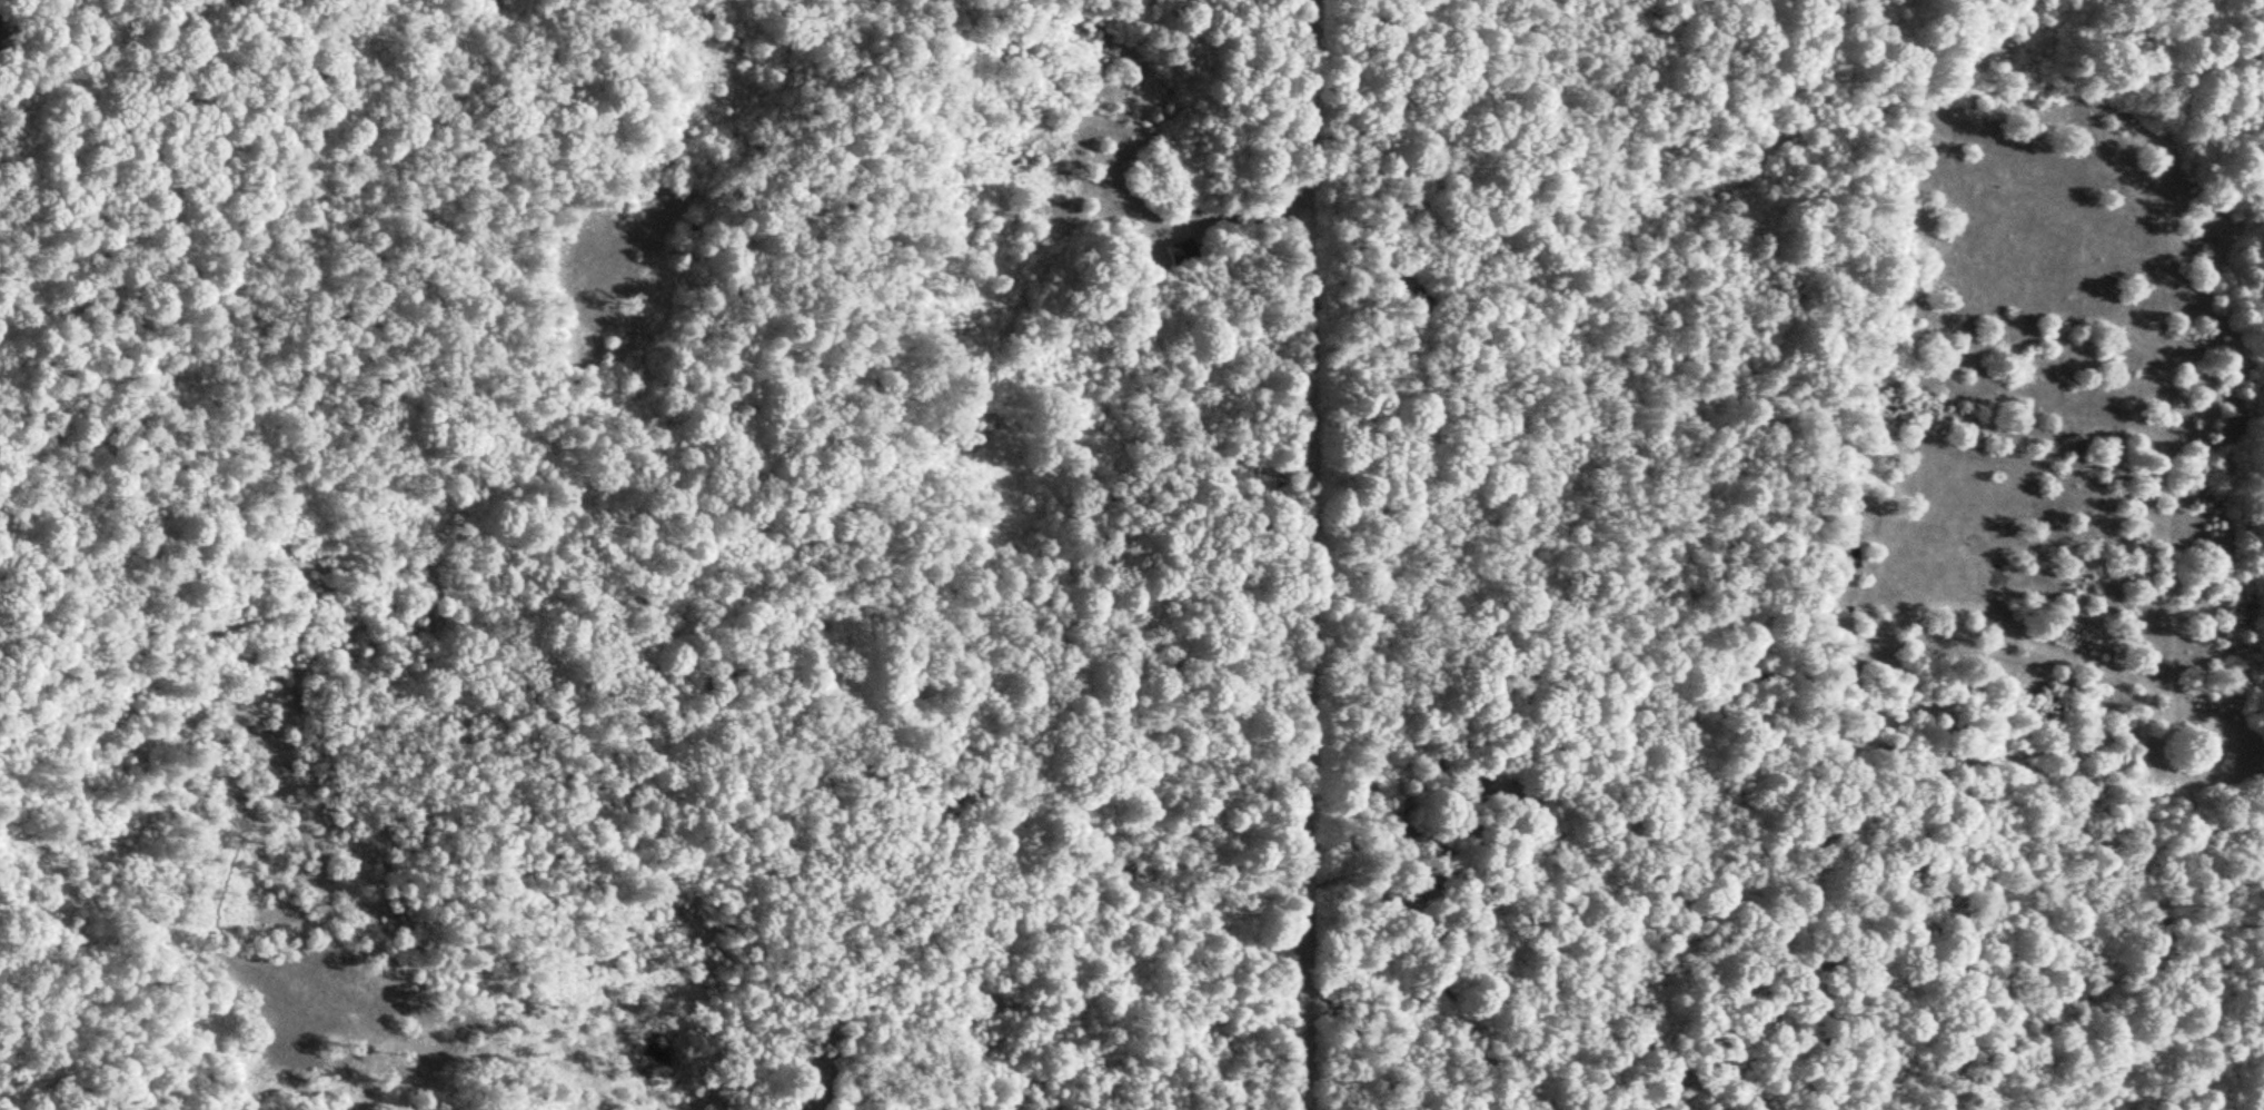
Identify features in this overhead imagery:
building: (1180, 252)
road: (1309, 554)

